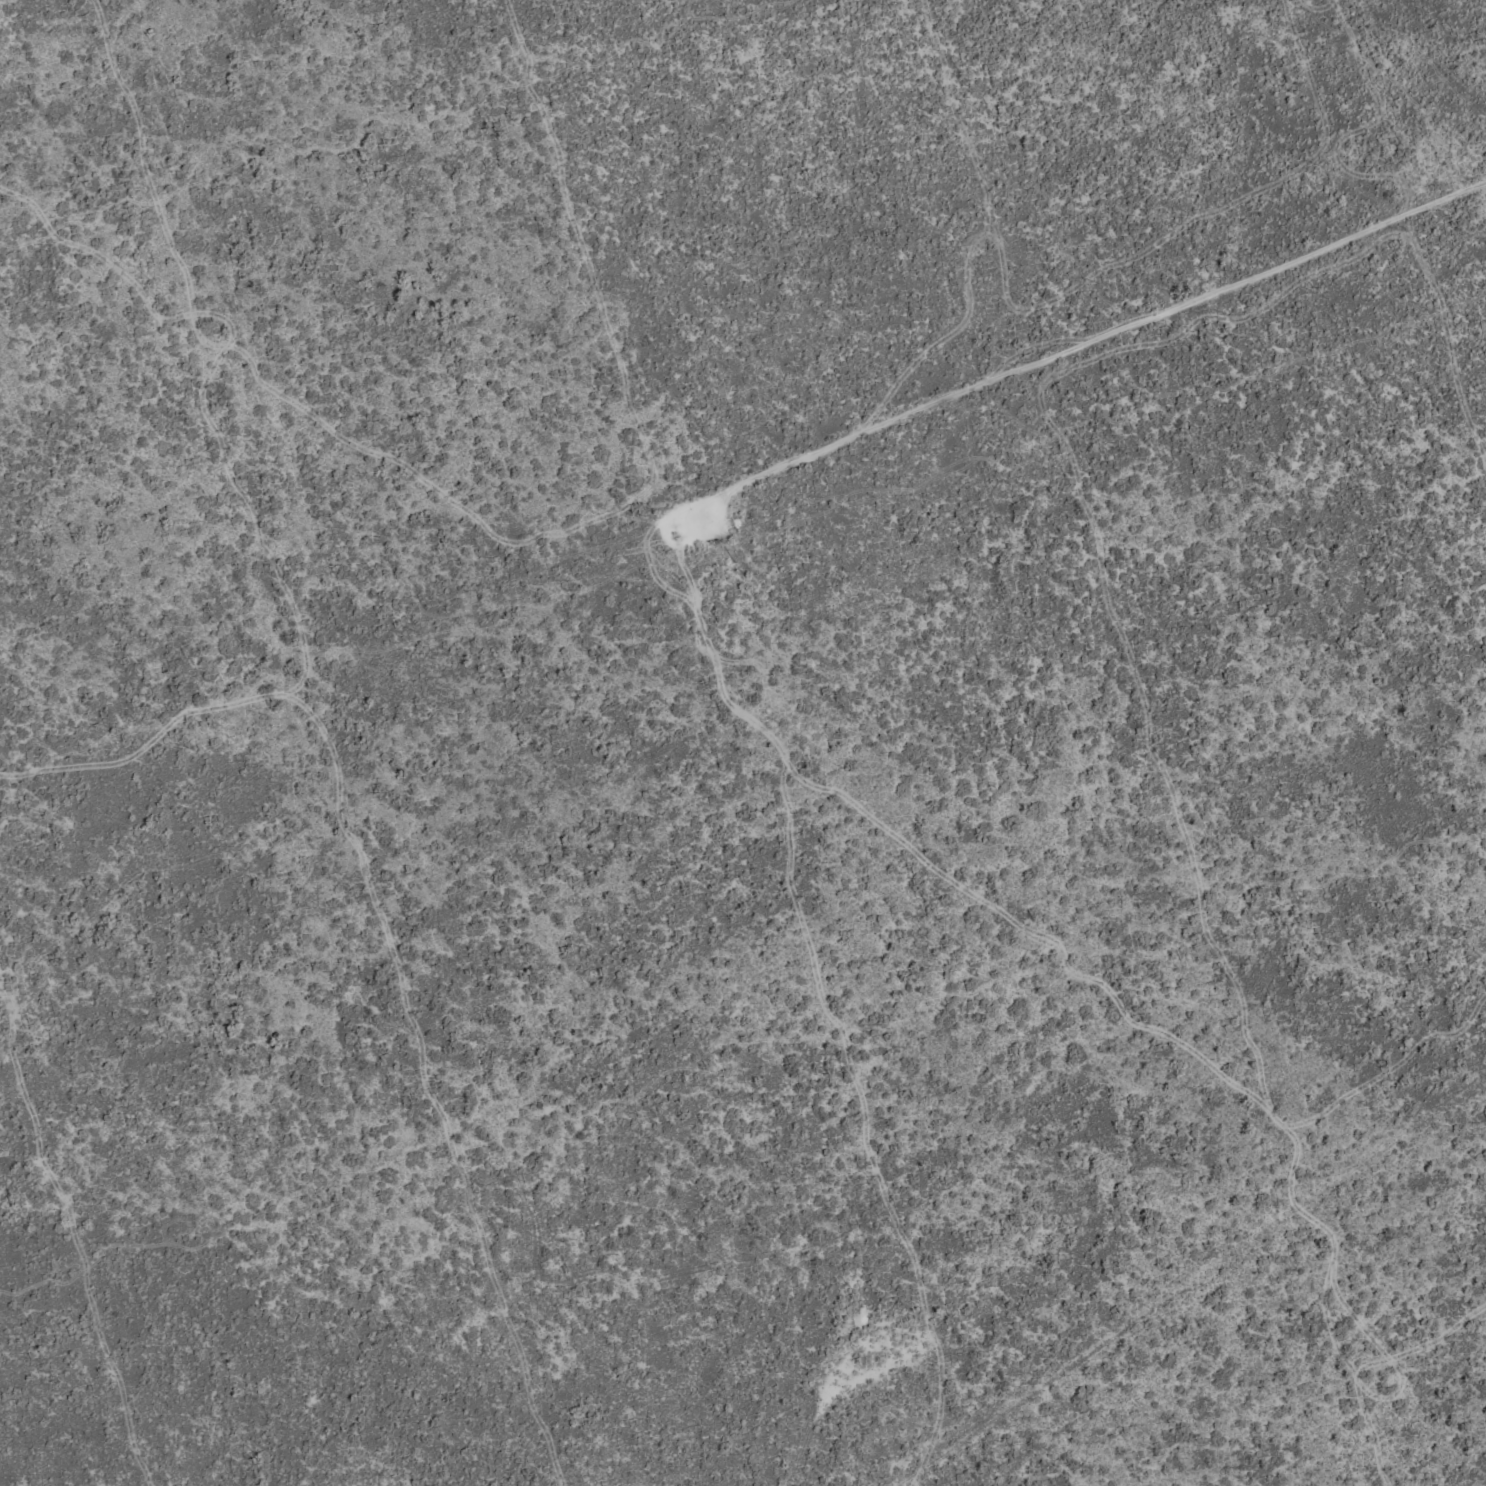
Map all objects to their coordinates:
road: (213, 202)
road: (1233, 302)
road: (851, 454)
road: (339, 944)
road: (827, 1452)

